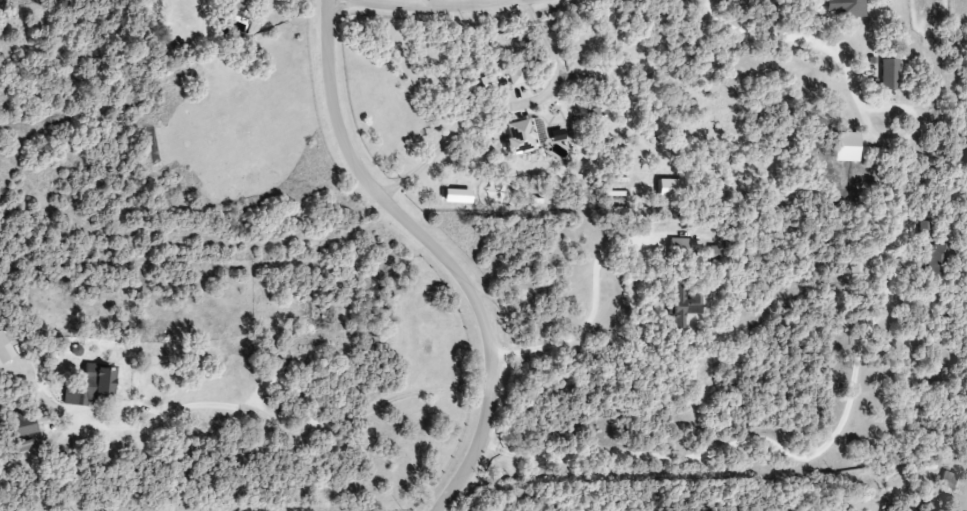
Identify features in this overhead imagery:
road: (468, 3)
building: (237, 4)
road: (452, 5)
building: (846, 8)
road: (795, 40)
building: (888, 75)
building: (516, 77)
road: (500, 110)
road: (915, 134)
building: (846, 147)
building: (925, 230)
building: (681, 248)
road: (437, 252)
building: (936, 263)
building: (682, 306)
road: (589, 313)
building: (3, 351)
building: (93, 388)
building: (22, 425)
road: (292, 430)
road: (752, 442)
building: (22, 446)
building: (947, 480)

